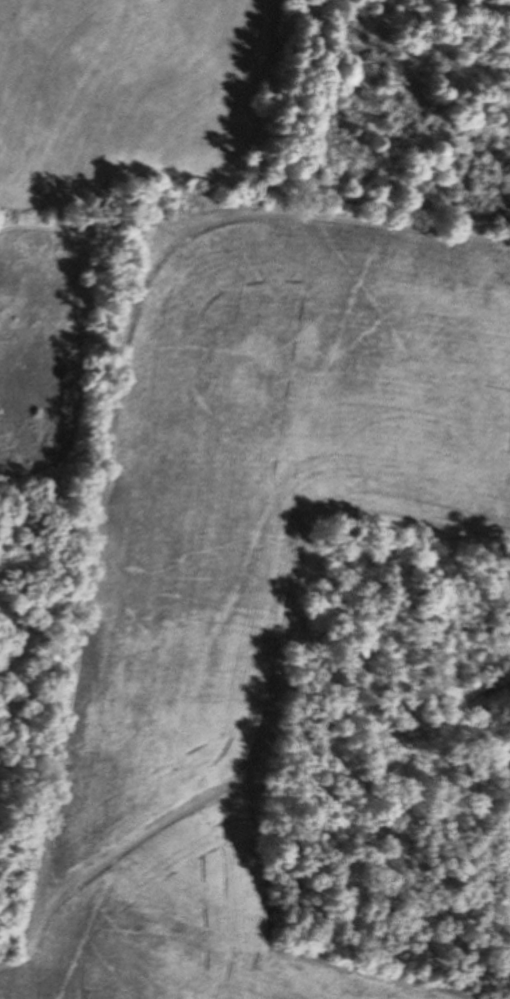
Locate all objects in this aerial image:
road: (273, 706)

